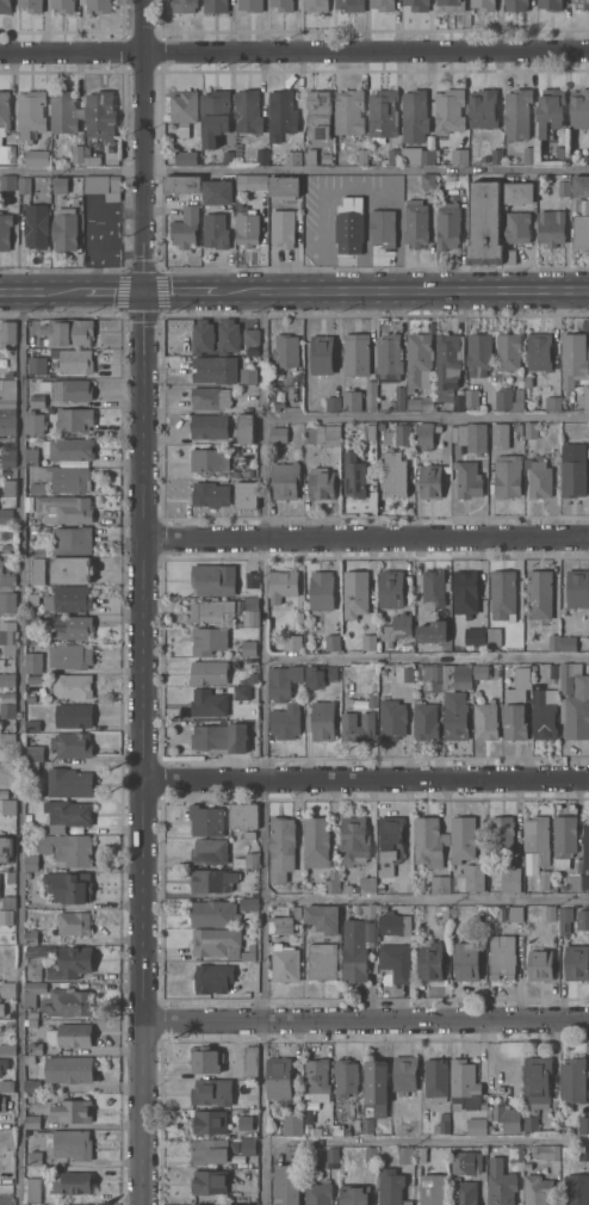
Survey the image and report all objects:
building: (550, 4)
building: (32, 5)
building: (184, 5)
building: (252, 5)
building: (284, 5)
building: (317, 5)
building: (351, 5)
building: (383, 5)
building: (417, 5)
building: (453, 5)
building: (484, 5)
building: (516, 5)
building: (6, 6)
building: (63, 6)
building: (100, 6)
building: (215, 6)
building: (587, 6)
road: (293, 51)
building: (581, 107)
building: (484, 109)
building: (185, 110)
building: (551, 110)
building: (64, 111)
building: (451, 111)
building: (249, 112)
building: (320, 112)
building: (351, 112)
building: (517, 113)
building: (32, 115)
building: (101, 115)
building: (283, 115)
building: (384, 115)
building: (415, 116)
building: (216, 117)
building: (6, 129)
building: (112, 147)
building: (240, 148)
building: (77, 154)
building: (454, 155)
building: (497, 155)
building: (529, 155)
building: (564, 155)
building: (263, 156)
building: (311, 156)
building: (364, 156)
building: (395, 156)
building: (37, 157)
building: (187, 157)
building: (229, 157)
building: (287, 157)
building: (420, 157)
building: (95, 160)
road: (72, 169)
road: (366, 169)
building: (256, 181)
building: (428, 181)
building: (8, 183)
building: (103, 184)
building: (184, 184)
building: (25, 185)
building: (581, 185)
building: (565, 186)
building: (285, 187)
building: (447, 190)
building: (218, 192)
building: (520, 192)
building: (416, 223)
building: (351, 224)
building: (485, 224)
building: (37, 225)
building: (448, 225)
building: (186, 227)
building: (517, 227)
building: (552, 227)
building: (283, 228)
building: (384, 228)
building: (248, 229)
building: (5, 230)
building: (216, 230)
building: (64, 231)
building: (581, 231)
building: (510, 257)
road: (49, 291)
road: (122, 291)
traffic signals: (143, 291)
road: (172, 291)
road: (395, 291)
building: (69, 332)
building: (7, 333)
building: (203, 336)
building: (229, 336)
building: (252, 338)
building: (286, 351)
building: (508, 351)
building: (540, 351)
building: (479, 352)
road: (260, 353)
building: (356, 353)
building: (322, 354)
building: (390, 358)
building: (573, 358)
building: (418, 360)
building: (76, 361)
building: (448, 363)
building: (38, 364)
building: (12, 367)
building: (216, 369)
building: (249, 375)
building: (68, 389)
building: (8, 394)
building: (372, 395)
building: (291, 396)
building: (585, 396)
building: (211, 397)
building: (472, 397)
building: (399, 398)
building: (509, 398)
building: (38, 400)
building: (352, 400)
building: (460, 402)
building: (334, 403)
building: (415, 403)
building: (553, 403)
building: (255, 408)
building: (8, 412)
road: (424, 416)
building: (74, 419)
building: (35, 421)
building: (8, 426)
building: (210, 426)
building: (382, 427)
building: (246, 428)
building: (519, 430)
building: (532, 430)
building: (279, 434)
building: (324, 434)
building: (371, 434)
building: (403, 434)
building: (501, 434)
building: (424, 435)
building: (473, 437)
building: (69, 449)
building: (32, 456)
building: (8, 458)
building: (210, 459)
building: (573, 470)
building: (10, 472)
building: (395, 474)
building: (354, 476)
building: (508, 476)
building: (469, 478)
building: (67, 480)
building: (286, 480)
building: (540, 480)
building: (432, 482)
building: (322, 483)
building: (10, 488)
building: (38, 488)
building: (211, 494)
building: (247, 495)
building: (66, 508)
building: (6, 517)
road: (365, 537)
building: (73, 540)
building: (6, 548)
building: (38, 549)
building: (5, 560)
building: (72, 569)
building: (38, 571)
building: (7, 579)
building: (213, 579)
building: (253, 580)
building: (283, 585)
building: (391, 588)
building: (577, 588)
building: (432, 589)
building: (322, 591)
building: (466, 592)
building: (355, 593)
building: (503, 594)
building: (540, 595)
building: (7, 598)
building: (73, 598)
road: (142, 601)
building: (212, 611)
building: (252, 612)
building: (300, 618)
building: (422, 619)
building: (73, 626)
building: (398, 626)
building: (31, 628)
building: (8, 631)
building: (433, 631)
building: (475, 636)
building: (495, 636)
building: (210, 639)
building: (293, 642)
building: (333, 642)
building: (370, 642)
building: (554, 643)
building: (569, 643)
building: (249, 648)
building: (8, 649)
building: (70, 656)
road: (424, 660)
building: (35, 662)
building: (215, 671)
building: (554, 671)
building: (433, 672)
building: (480, 672)
building: (463, 673)
building: (404, 674)
building: (321, 675)
building: (8, 676)
building: (569, 676)
building: (36, 679)
building: (284, 681)
building: (246, 682)
building: (74, 685)
building: (243, 692)
building: (8, 697)
building: (373, 699)
building: (210, 703)
building: (516, 706)
building: (577, 709)
building: (7, 710)
building: (74, 715)
building: (455, 716)
building: (544, 717)
building: (392, 719)
building: (286, 721)
building: (322, 721)
building: (426, 721)
building: (486, 721)
building: (33, 725)
building: (358, 727)
building: (223, 737)
building: (7, 741)
building: (73, 744)
road: (20, 748)
building: (35, 753)
building: (8, 767)
building: (32, 768)
road: (365, 778)
building: (69, 783)
building: (4, 793)
building: (10, 807)
road: (261, 810)
building: (68, 815)
building: (243, 815)
building: (29, 817)
building: (207, 821)
building: (249, 834)
building: (502, 834)
building: (463, 838)
building: (538, 838)
building: (356, 841)
building: (429, 841)
building: (564, 841)
building: (317, 842)
building: (390, 842)
building: (281, 848)
building: (6, 849)
building: (62, 849)
building: (210, 851)
building: (587, 852)
building: (248, 860)
building: (385, 869)
building: (11, 877)
building: (475, 877)
building: (511, 879)
building: (212, 880)
building: (331, 882)
building: (545, 882)
building: (573, 882)
building: (441, 884)
building: (69, 885)
building: (360, 886)
road: (424, 898)
building: (8, 902)
building: (249, 903)
building: (215, 913)
building: (442, 913)
building: (516, 913)
building: (551, 913)
building: (342, 914)
building: (323, 917)
building: (6, 919)
building: (566, 920)
building: (583, 920)
building: (284, 922)
building: (74, 923)
building: (395, 925)
building: (31, 937)
building: (215, 940)
building: (534, 940)
building: (358, 945)
building: (248, 956)
building: (502, 956)
building: (396, 960)
building: (430, 960)
building: (467, 960)
building: (36, 962)
building: (323, 962)
building: (577, 962)
building: (70, 963)
building: (285, 963)
building: (540, 965)
building: (212, 977)
building: (8, 989)
building: (32, 993)
building: (69, 1002)
building: (2, 1009)
building: (32, 1014)
road: (365, 1016)
building: (70, 1034)
building: (36, 1049)
building: (7, 1050)
building: (207, 1059)
building: (252, 1062)
building: (4, 1064)
building: (69, 1069)
building: (405, 1073)
building: (280, 1077)
building: (346, 1077)
building: (436, 1079)
building: (537, 1079)
building: (317, 1080)
building: (573, 1080)
building: (32, 1084)
building: (7, 1086)
building: (466, 1086)
building: (377, 1087)
building: (212, 1093)
building: (2, 1102)
building: (70, 1111)
building: (489, 1113)
building: (508, 1118)
building: (32, 1121)
building: (210, 1121)
building: (246, 1123)
building: (292, 1123)
building: (442, 1123)
building: (531, 1123)
building: (368, 1125)
building: (477, 1125)
building: (584, 1125)
building: (309, 1127)
building: (491, 1127)
building: (339, 1129)
road: (424, 1142)
building: (69, 1143)
building: (248, 1147)
building: (210, 1150)
building: (546, 1151)
building: (371, 1153)
building: (516, 1153)
building: (583, 1153)
building: (405, 1154)
building: (421, 1154)
building: (36, 1158)
building: (333, 1160)
building: (464, 1160)
building: (210, 1181)
building: (74, 1182)
building: (287, 1184)
building: (501, 1184)
building: (392, 1187)
building: (33, 1189)
building: (433, 1189)
building: (538, 1189)
building: (577, 1189)
building: (318, 1193)
building: (465, 1193)
building: (355, 1194)
building: (38, 1204)

